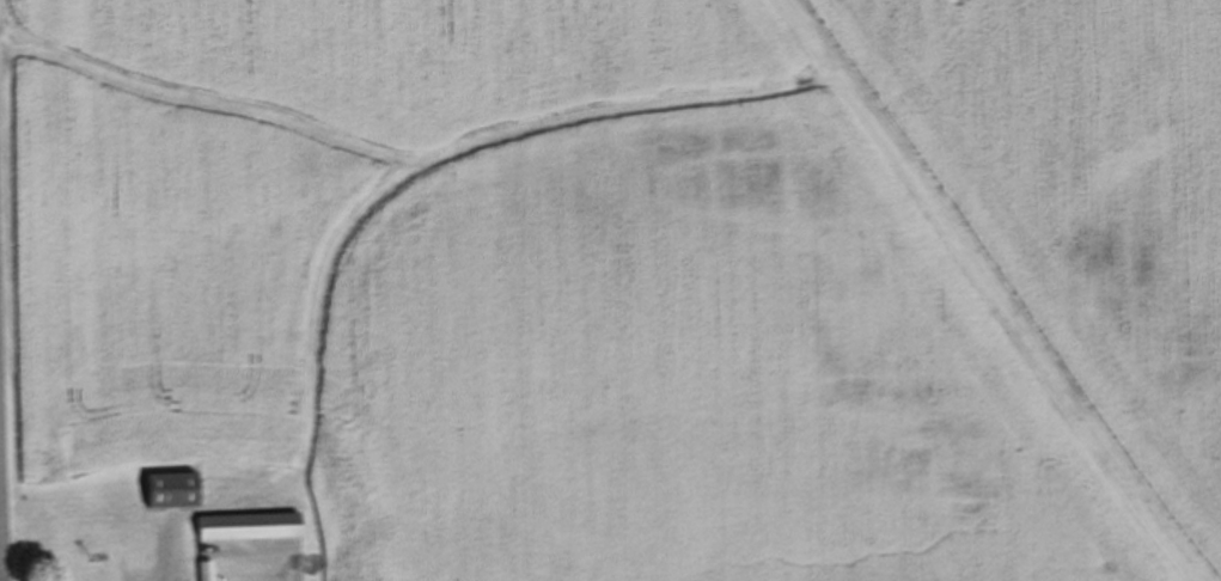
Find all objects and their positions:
building: (170, 489)
building: (246, 526)
building: (204, 570)

